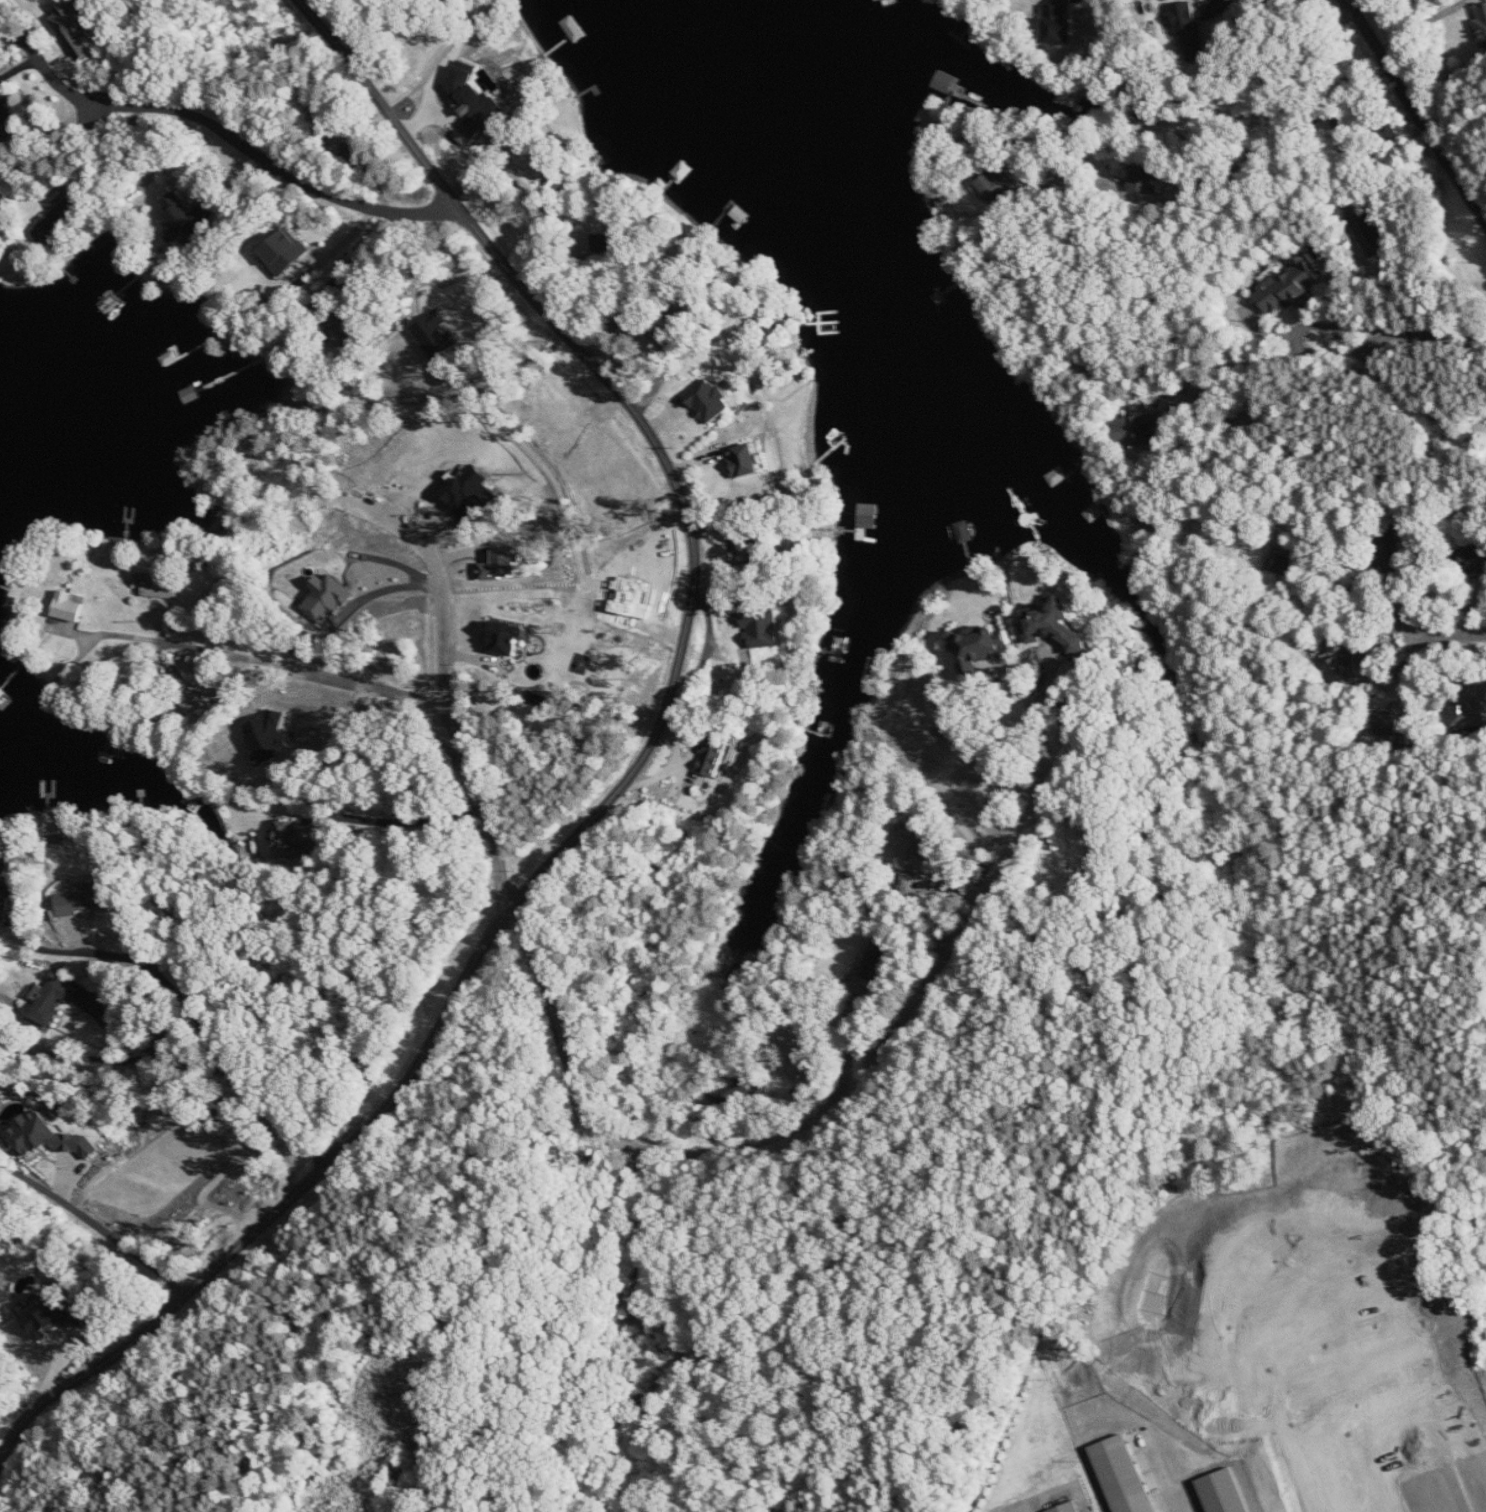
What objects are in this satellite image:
road: (1222, 1)
road: (1422, 24)
building: (1482, 25)
building: (76, 27)
building: (1190, 31)
road: (160, 52)
road: (57, 82)
building: (474, 105)
road: (1417, 109)
building: (8, 123)
road: (1342, 142)
road: (109, 150)
road: (278, 168)
road: (1200, 179)
building: (1145, 182)
road: (1104, 189)
building: (187, 218)
building: (58, 220)
building: (1371, 233)
road: (367, 245)
building: (285, 253)
building: (1289, 288)
road: (612, 322)
building: (438, 335)
road: (1403, 335)
building: (344, 336)
road: (665, 353)
building: (710, 401)
building: (1142, 429)
building: (747, 461)
building: (965, 531)
building: (759, 552)
building: (1392, 552)
building: (506, 564)
building: (1289, 565)
building: (160, 588)
road: (390, 590)
road: (441, 594)
building: (328, 596)
road: (1372, 602)
building: (69, 607)
road: (242, 626)
building: (1053, 627)
building: (765, 629)
building: (507, 638)
road: (1453, 638)
building: (978, 651)
building: (1339, 668)
road: (176, 669)
road: (298, 675)
road: (1045, 683)
building: (202, 706)
road: (1029, 707)
building: (1471, 713)
building: (1389, 724)
building: (269, 737)
building: (715, 757)
road: (619, 787)
road: (487, 810)
road: (394, 820)
building: (292, 842)
building: (913, 850)
building: (6, 889)
building: (86, 900)
road: (65, 946)
building: (877, 956)
building: (53, 1002)
building: (168, 1040)
road: (149, 1046)
road: (234, 1047)
building: (797, 1056)
road: (225, 1063)
building: (735, 1090)
road: (803, 1131)
building: (51, 1137)
road: (97, 1223)
building: (1124, 1475)
road: (1158, 1476)
building: (1071, 1507)

